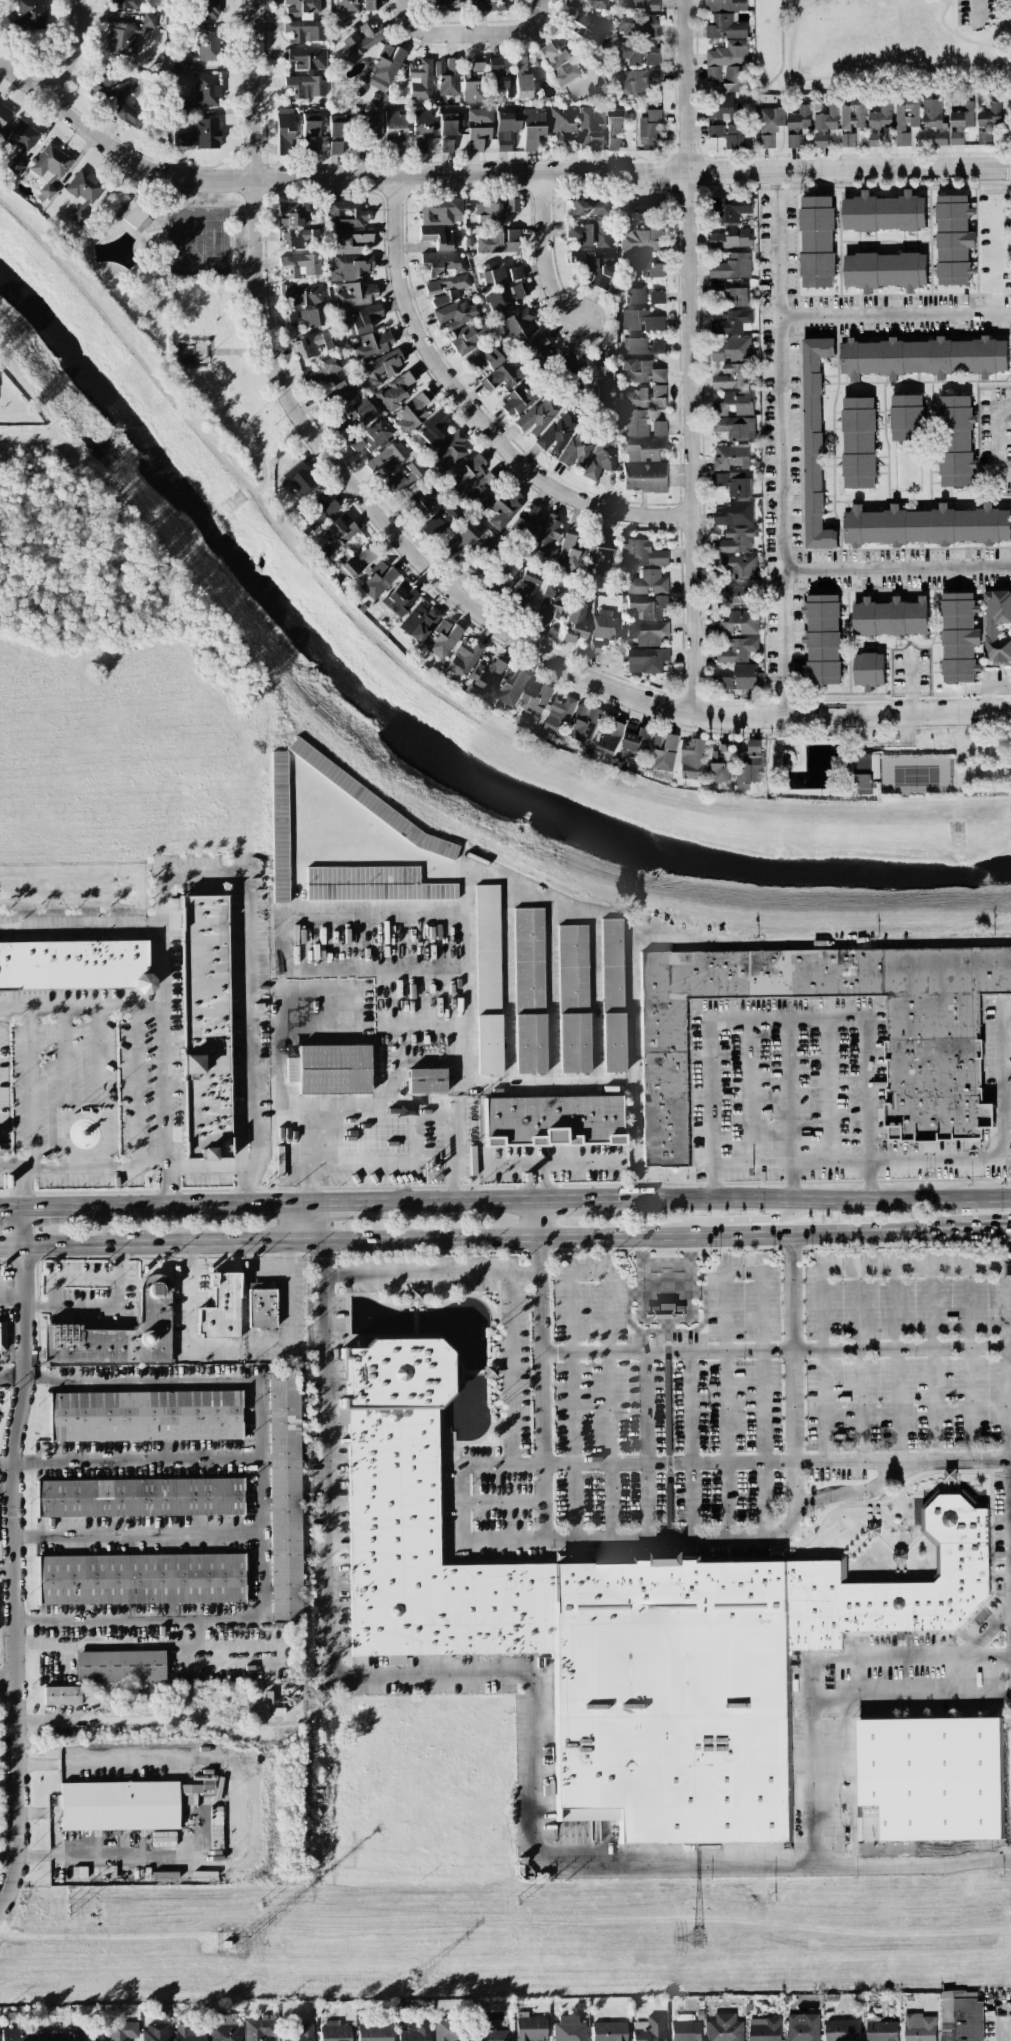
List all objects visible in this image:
building: (445, 1)
building: (586, 3)
building: (125, 4)
building: (641, 4)
building: (354, 5)
building: (491, 5)
building: (725, 5)
building: (301, 7)
road: (784, 7)
building: (207, 9)
parking lot: (976, 12)
road: (955, 13)
road: (976, 13)
building: (27, 15)
building: (637, 25)
building: (726, 26)
road: (529, 28)
building: (587, 28)
building: (304, 31)
road: (439, 33)
building: (363, 38)
building: (207, 46)
road: (73, 51)
building: (640, 53)
building: (725, 57)
building: (307, 59)
building: (559, 64)
building: (477, 65)
building: (495, 65)
building: (385, 68)
building: (447, 77)
building: (522, 78)
building: (735, 78)
road: (905, 78)
building: (418, 80)
building: (638, 80)
building: (503, 84)
road: (765, 84)
building: (471, 85)
building: (305, 86)
building: (204, 92)
building: (115, 97)
building: (722, 108)
building: (857, 113)
building: (3, 114)
building: (479, 115)
building: (989, 115)
building: (845, 117)
building: (799, 118)
building: (826, 118)
building: (905, 118)
building: (934, 120)
building: (960, 122)
building: (562, 123)
building: (878, 123)
building: (368, 124)
building: (448, 125)
building: (769, 125)
building: (336, 126)
building: (395, 126)
building: (650, 126)
building: (615, 127)
building: (532, 128)
building: (421, 130)
building: (589, 130)
building: (505, 131)
building: (715, 131)
building: (284, 132)
building: (310, 133)
building: (200, 134)
building: (736, 137)
building: (477, 138)
building: (820, 139)
building: (847, 139)
building: (793, 140)
building: (18, 143)
building: (446, 146)
building: (335, 148)
building: (49, 169)
road: (486, 175)
building: (82, 192)
building: (586, 207)
building: (637, 209)
building: (733, 209)
building: (495, 211)
building: (440, 212)
building: (884, 212)
building: (292, 214)
building: (346, 215)
building: (135, 216)
road: (256, 223)
building: (579, 233)
building: (437, 237)
building: (731, 237)
building: (298, 238)
building: (640, 239)
building: (953, 239)
building: (601, 240)
building: (502, 241)
building: (817, 241)
road: (545, 254)
road: (995, 255)
building: (444, 263)
building: (595, 264)
building: (732, 265)
building: (300, 266)
building: (640, 266)
building: (349, 267)
building: (885, 270)
building: (492, 273)
building: (515, 273)
building: (446, 289)
building: (635, 292)
building: (303, 293)
building: (730, 294)
building: (356, 295)
building: (656, 297)
building: (504, 300)
building: (457, 314)
road: (894, 316)
building: (304, 318)
building: (362, 318)
building: (640, 320)
building: (735, 321)
building: (520, 324)
building: (469, 338)
building: (311, 345)
building: (373, 345)
building: (643, 346)
building: (537, 347)
building: (732, 349)
building: (923, 356)
road: (689, 357)
building: (483, 358)
building: (382, 368)
building: (641, 371)
building: (733, 375)
building: (502, 377)
building: (604, 377)
building: (327, 382)
building: (394, 392)
building: (643, 397)
building: (516, 401)
building: (737, 402)
road: (474, 410)
building: (358, 411)
building: (412, 413)
building: (538, 417)
building: (906, 417)
building: (341, 422)
building: (735, 427)
building: (432, 429)
building: (558, 434)
building: (371, 436)
road: (994, 440)
building: (956, 441)
building: (858, 442)
road: (779, 443)
building: (814, 443)
building: (577, 450)
building: (450, 451)
building: (601, 454)
building: (730, 456)
building: (388, 459)
building: (468, 470)
building: (300, 479)
building: (403, 479)
building: (735, 483)
building: (483, 488)
building: (423, 500)
building: (505, 508)
building: (321, 511)
building: (735, 513)
building: (439, 522)
building: (926, 526)
building: (524, 527)
building: (338, 533)
building: (547, 537)
building: (736, 539)
building: (461, 540)
building: (642, 553)
building: (571, 554)
building: (598, 554)
building: (481, 556)
building: (351, 560)
building: (737, 565)
road: (895, 568)
building: (507, 570)
building: (376, 581)
building: (647, 582)
building: (525, 588)
building: (399, 599)
building: (552, 602)
building: (647, 605)
building: (737, 609)
building: (890, 617)
building: (419, 621)
building: (576, 622)
building: (604, 624)
building: (996, 625)
building: (647, 632)
building: (959, 637)
building: (822, 638)
building: (443, 639)
building: (596, 647)
building: (737, 649)
building: (463, 658)
building: (646, 659)
building: (869, 669)
building: (486, 675)
building: (745, 676)
road: (910, 680)
building: (724, 682)
building: (510, 686)
road: (986, 686)
road: (615, 689)
building: (547, 707)
building: (585, 723)
river: (413, 738)
building: (625, 738)
building: (725, 748)
building: (663, 751)
building: (692, 759)
building: (749, 765)
building: (721, 766)
building: (864, 772)
park: (914, 775)
building: (370, 801)
building: (279, 826)
building: (372, 884)
road: (467, 893)
road: (345, 913)
road: (121, 928)
road: (821, 938)
building: (75, 965)
road: (246, 977)
building: (487, 979)
building: (529, 990)
building: (612, 995)
building: (573, 999)
road: (302, 1003)
road: (791, 1019)
road: (160, 1027)
building: (205, 1028)
road: (64, 1051)
road: (389, 1058)
road: (632, 1067)
road: (100, 1068)
building: (330, 1069)
building: (936, 1073)
road: (1008, 1074)
building: (426, 1081)
road: (546, 1083)
road: (30, 1089)
road: (138, 1089)
road: (829, 1091)
road: (750, 1092)
road: (48, 1095)
road: (457, 1100)
road: (789, 1108)
flagpole: (75, 1109)
flagpole: (84, 1109)
flagpole: (93, 1109)
road: (372, 1112)
building: (552, 1121)
road: (987, 1126)
road: (1002, 1148)
road: (553, 1163)
road: (789, 1163)
road: (382, 1165)
road: (140, 1168)
road: (12, 1169)
flagpole: (926, 1171)
flagpole: (933, 1172)
flagpole: (929, 1173)
road: (453, 1176)
road: (539, 1180)
road: (309, 1184)
flagpole: (138, 1186)
flagpole: (80, 1187)
flagpole: (91, 1187)
flagpole: (103, 1187)
flagpole: (114, 1187)
flagpole: (126, 1187)
road: (24, 1188)
flagpole: (44, 1188)
flagpole: (56, 1188)
flagpole: (68, 1188)
road: (569, 1197)
road: (805, 1197)
road: (456, 1199)
road: (330, 1202)
road: (144, 1205)
road: (791, 1215)
road: (538, 1216)
road: (986, 1228)
road: (876, 1230)
road: (731, 1234)
road: (348, 1238)
road: (12, 1242)
road: (256, 1265)
road: (911, 1268)
building: (1008, 1269)
road: (588, 1271)
road: (740, 1271)
road: (431, 1273)
road: (289, 1292)
building: (414, 1294)
road: (105, 1304)
building: (220, 1307)
building: (261, 1307)
road: (189, 1314)
road: (414, 1319)
fountain: (466, 1322)
building: (119, 1332)
building: (2, 1337)
road: (775, 1350)
road: (932, 1363)
road: (966, 1363)
road: (859, 1364)
road: (895, 1364)
road: (821, 1365)
road: (509, 1368)
road: (792, 1371)
road: (466, 1372)
building: (490, 1372)
building: (395, 1375)
road: (129, 1380)
road: (540, 1387)
road: (759, 1403)
road: (607, 1404)
road: (724, 1404)
road: (571, 1405)
building: (144, 1416)
road: (687, 1443)
road: (644, 1444)
road: (776, 1461)
road: (1007, 1461)
road: (130, 1463)
road: (465, 1465)
road: (837, 1491)
building: (138, 1497)
building: (285, 1497)
road: (501, 1501)
building: (956, 1519)
road: (139, 1536)
road: (617, 1537)
road: (14, 1556)
building: (426, 1556)
road: (7, 1576)
building: (140, 1578)
building: (921, 1594)
building: (814, 1604)
building: (669, 1606)
road: (261, 1629)
road: (986, 1632)
building: (394, 1660)
building: (120, 1665)
road: (815, 1669)
road: (9, 1679)
road: (534, 1691)
building: (61, 1694)
road: (909, 1698)
road: (155, 1719)
road: (30, 1720)
building: (677, 1743)
road: (134, 1759)
building: (933, 1775)
road: (847, 1783)
building: (200, 1786)
building: (119, 1805)
road: (119, 1855)
road: (41, 1856)
road: (7, 1859)
power tower: (774, 1900)
power tower: (517, 1902)
power tower: (69, 1907)
power tower: (260, 1907)
power tower: (696, 1938)
power tower: (240, 1945)
power tower: (412, 1980)
building: (961, 2016)
building: (529, 2027)
building: (802, 2027)
building: (919, 2027)
building: (259, 2028)
building: (568, 2028)
building: (685, 2028)
building: (724, 2028)
building: (445, 2029)
building: (765, 2029)
building: (842, 2029)
building: (881, 2030)
building: (121, 2031)
building: (608, 2031)
building: (85, 2032)
building: (156, 2032)
building: (296, 2032)
building: (334, 2032)
building: (189, 2033)
building: (374, 2033)
building: (414, 2033)
building: (492, 2033)
building: (13, 2034)
building: (49, 2036)

